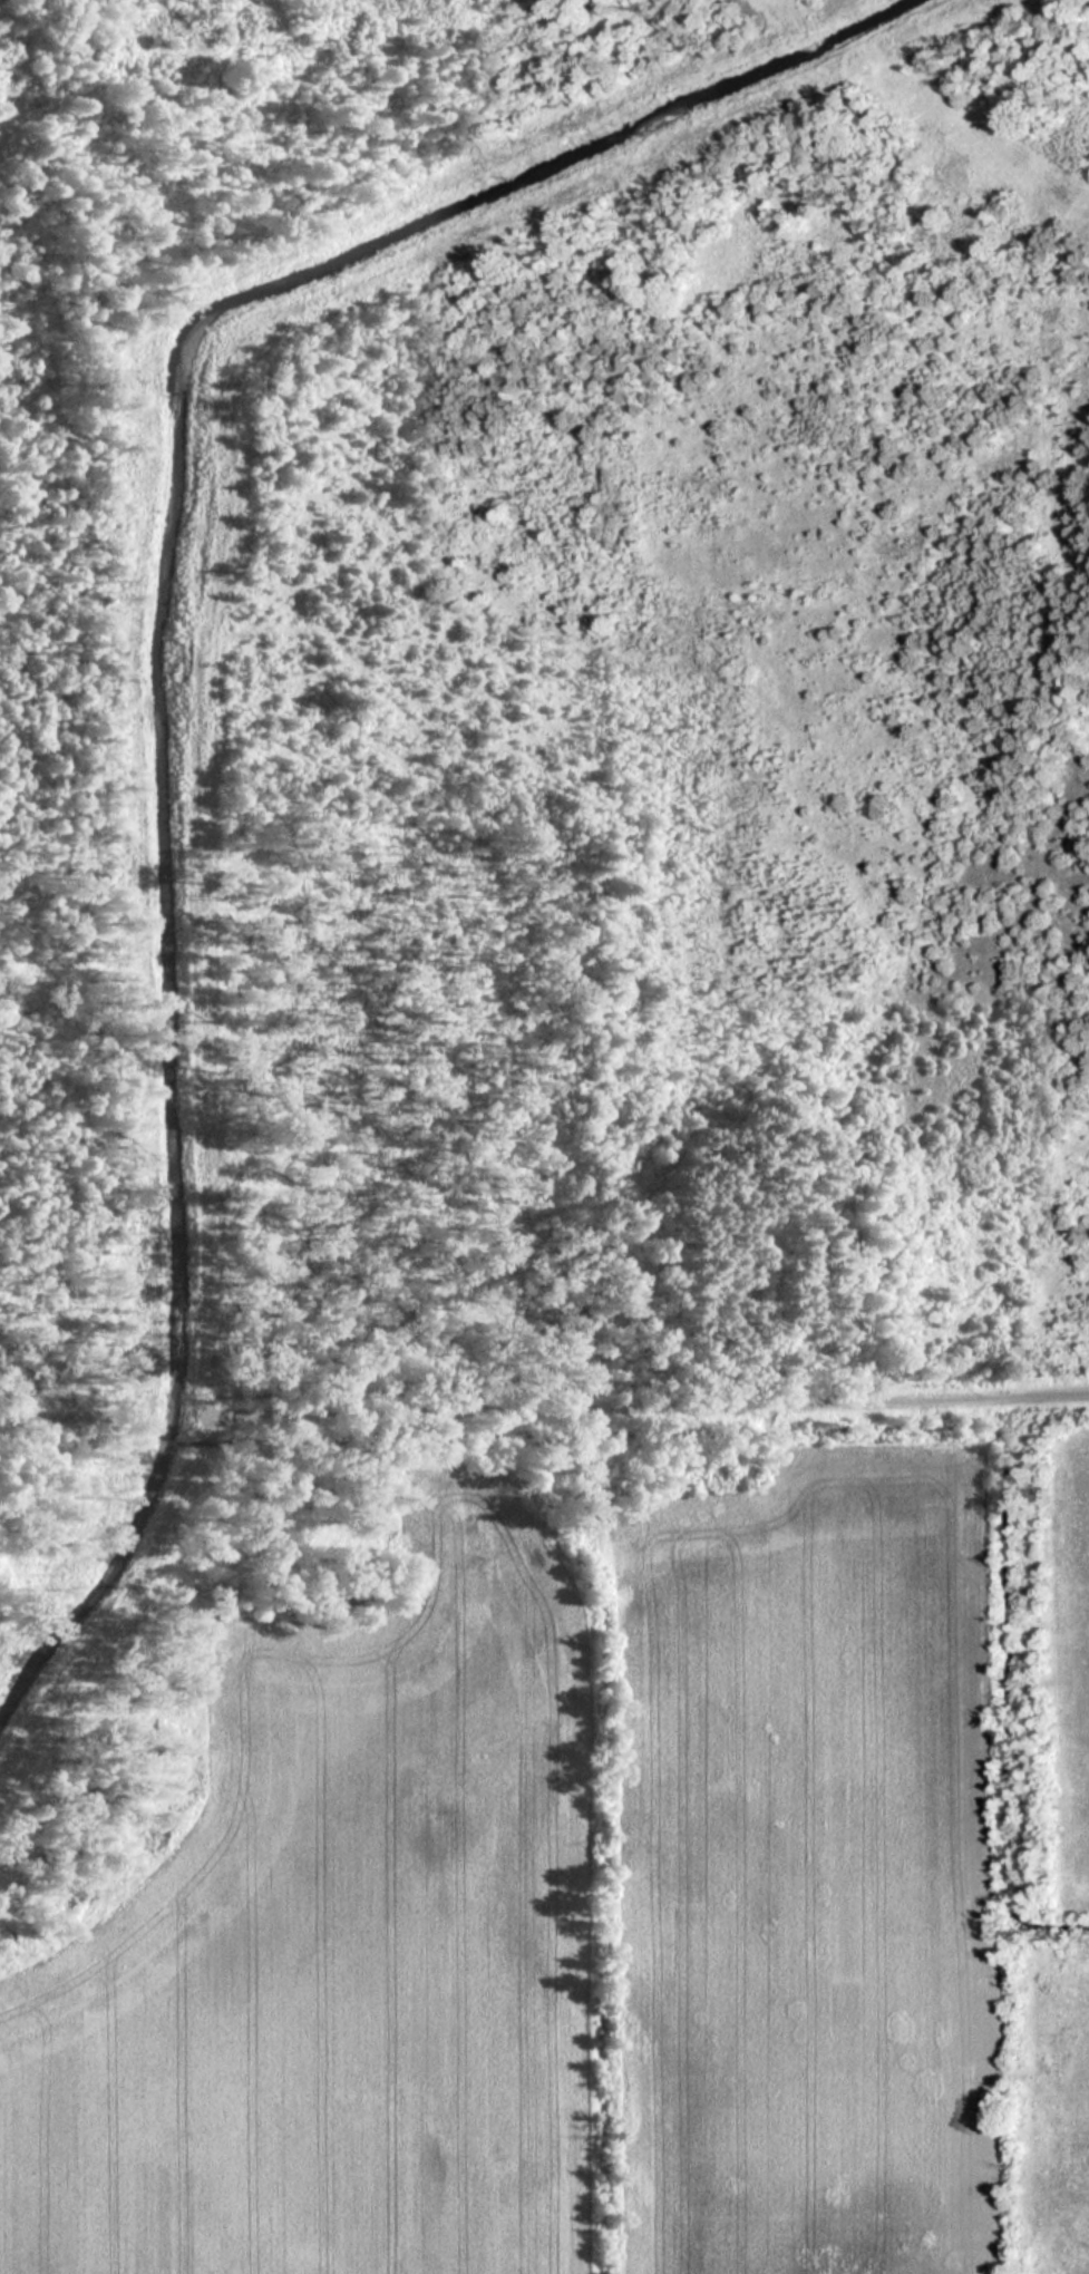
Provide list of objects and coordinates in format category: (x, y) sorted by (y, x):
river: (163, 647)
road: (639, 1415)
road: (72, 1427)

